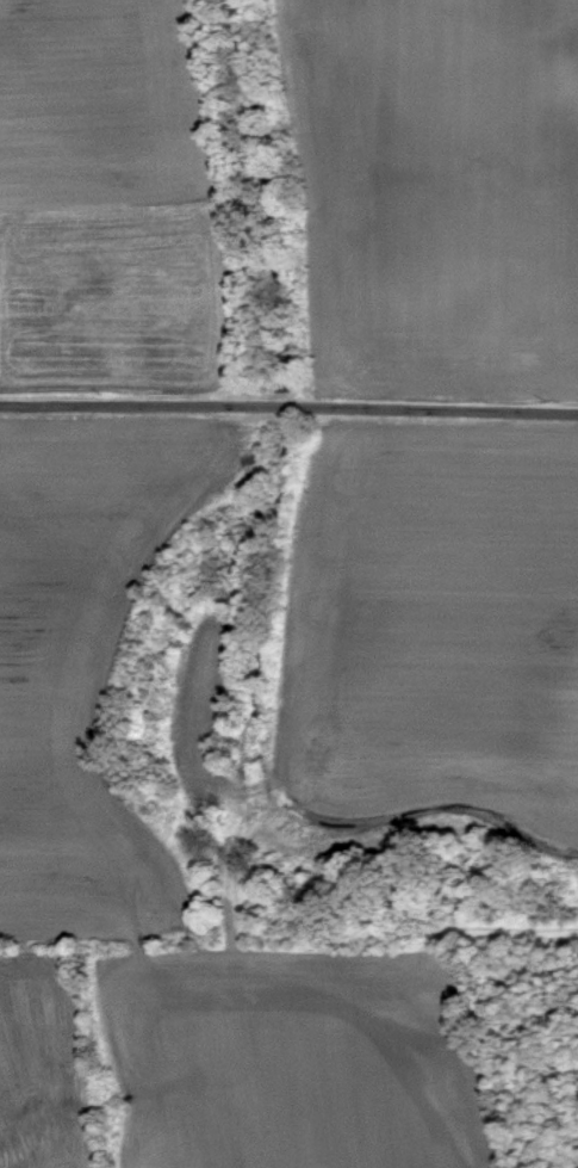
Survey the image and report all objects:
road: (288, 407)

